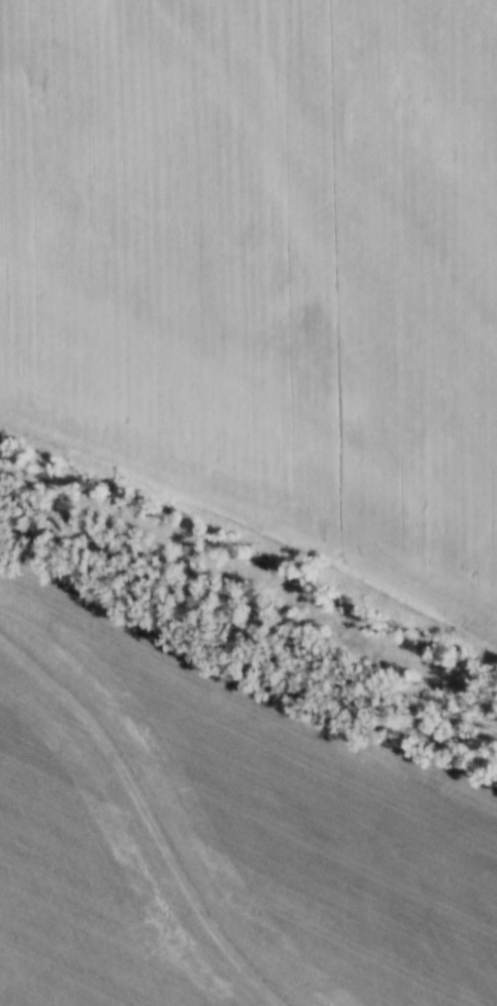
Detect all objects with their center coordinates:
road: (156, 808)

